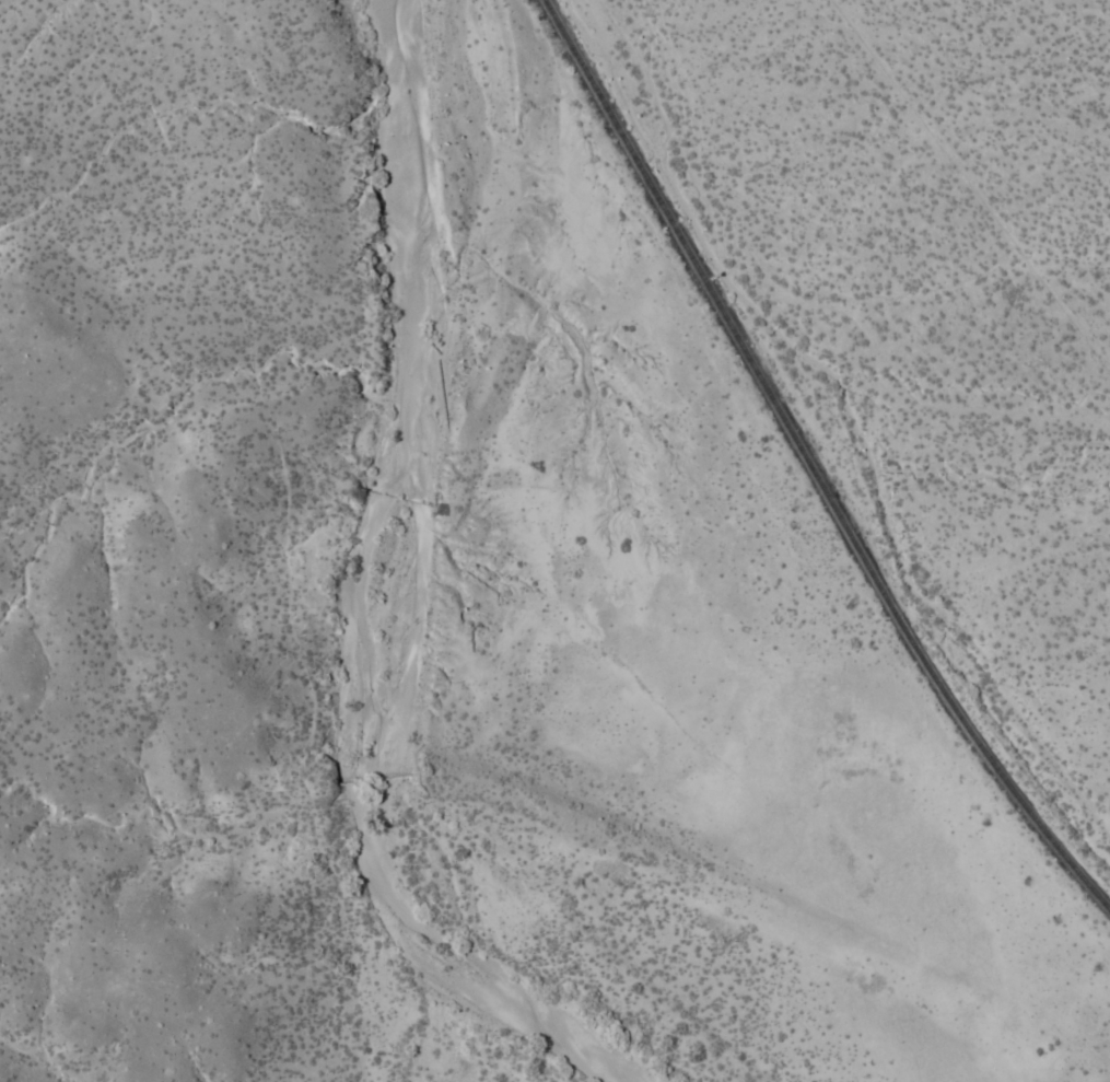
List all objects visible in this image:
railway: (808, 465)

